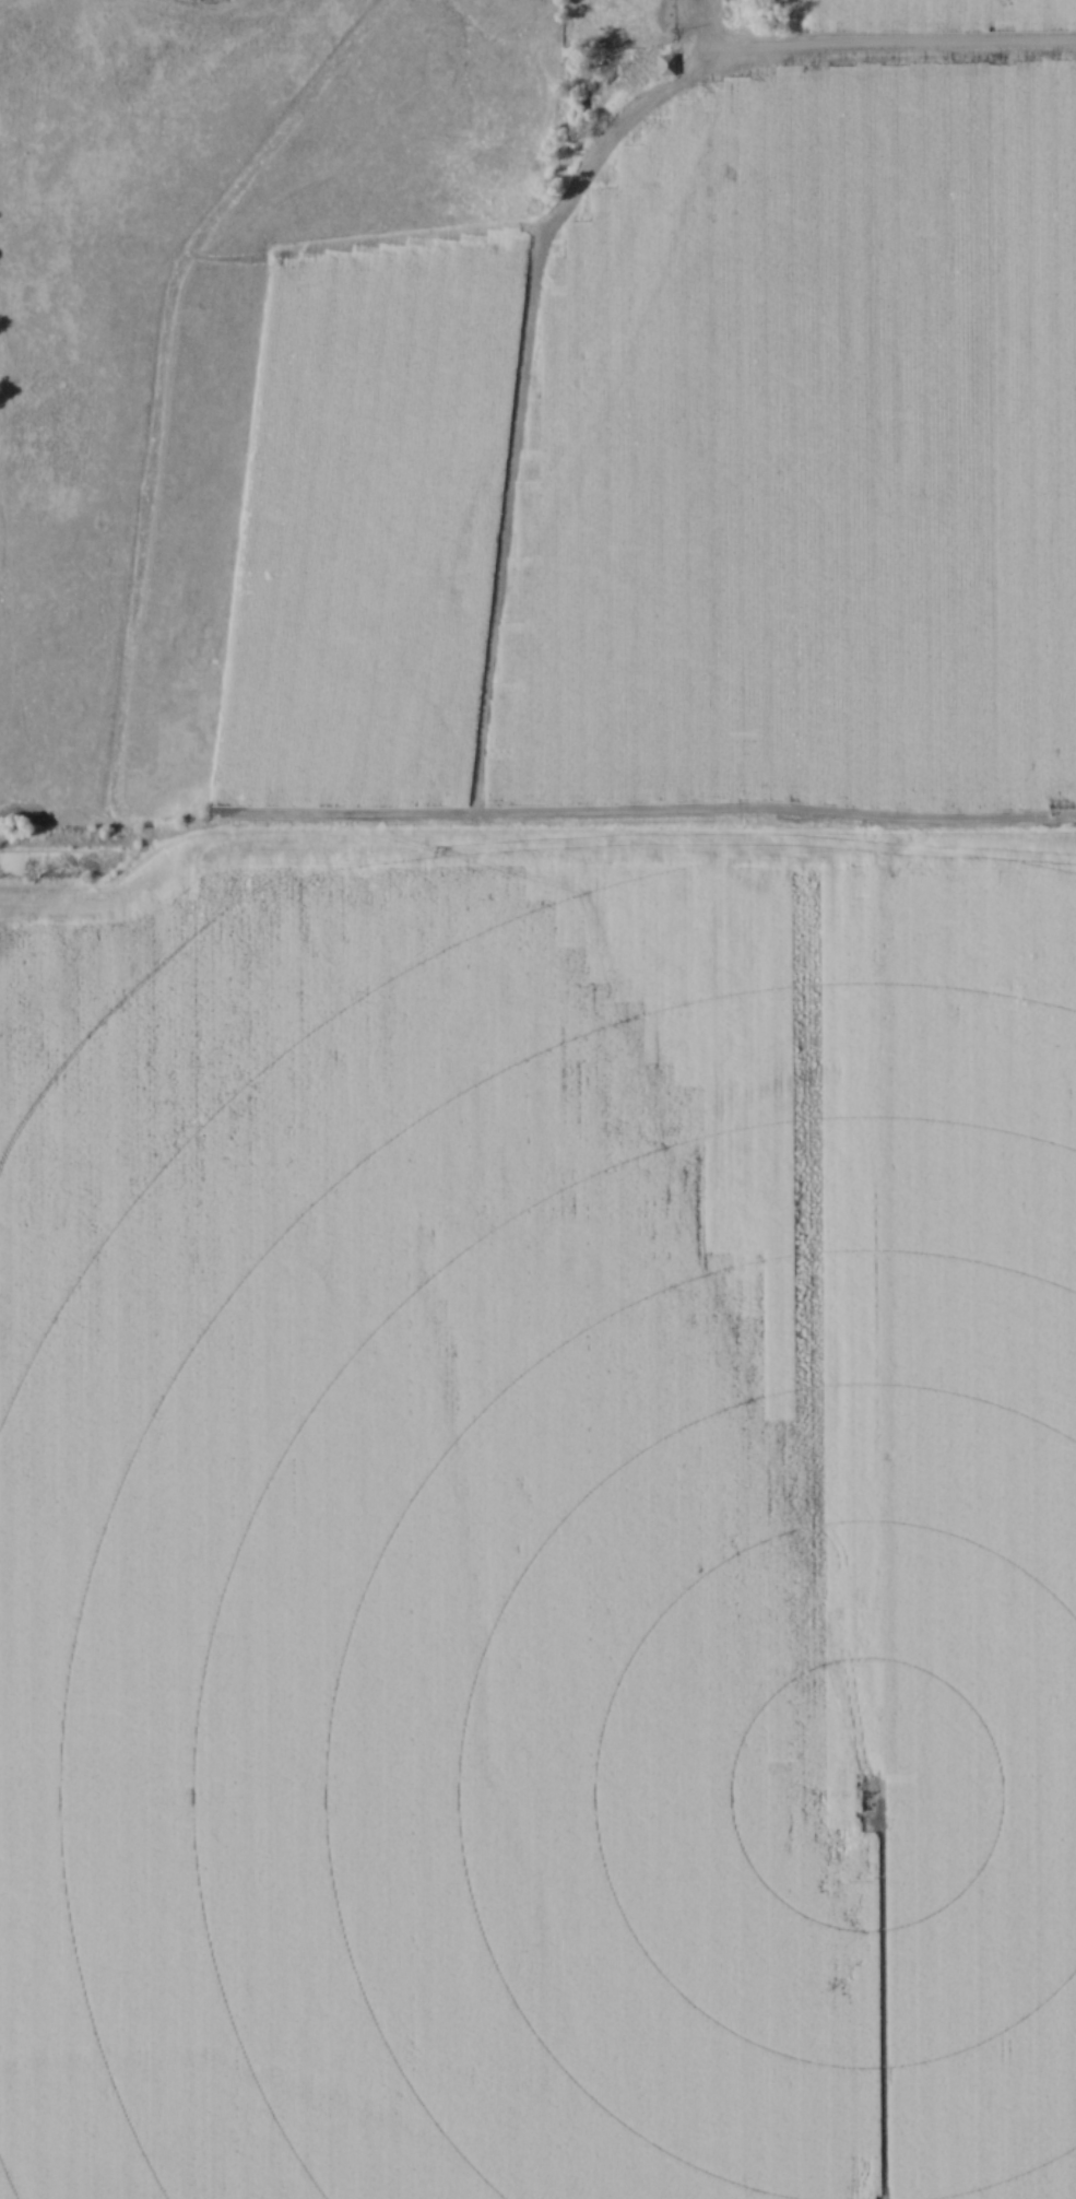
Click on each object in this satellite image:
road: (880, 47)
building: (666, 67)

